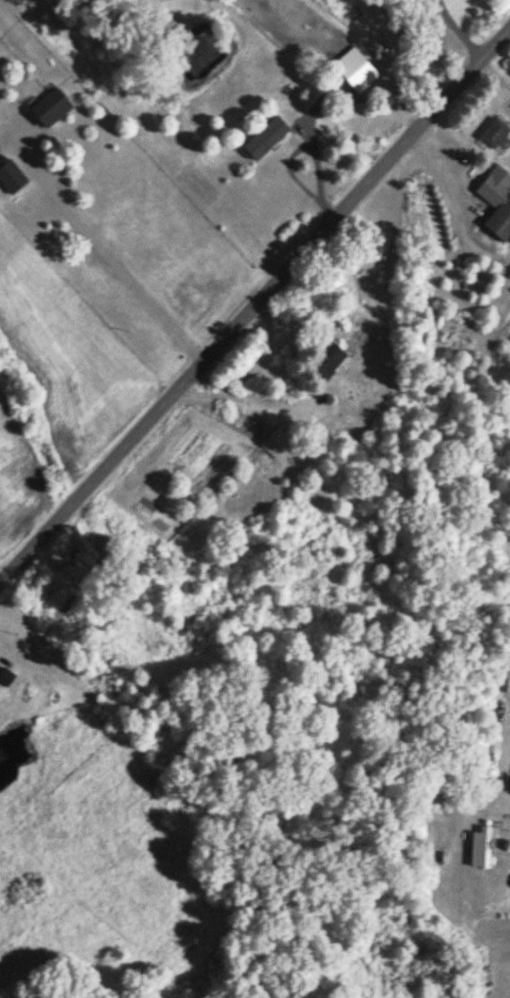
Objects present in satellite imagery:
road: (455, 31)
building: (356, 77)
building: (53, 109)
building: (267, 140)
building: (11, 177)
building: (498, 202)
road: (115, 248)
road: (255, 307)
building: (328, 361)
road: (231, 395)
building: (278, 444)
building: (6, 679)
building: (2, 697)
road: (504, 816)
building: (483, 849)

